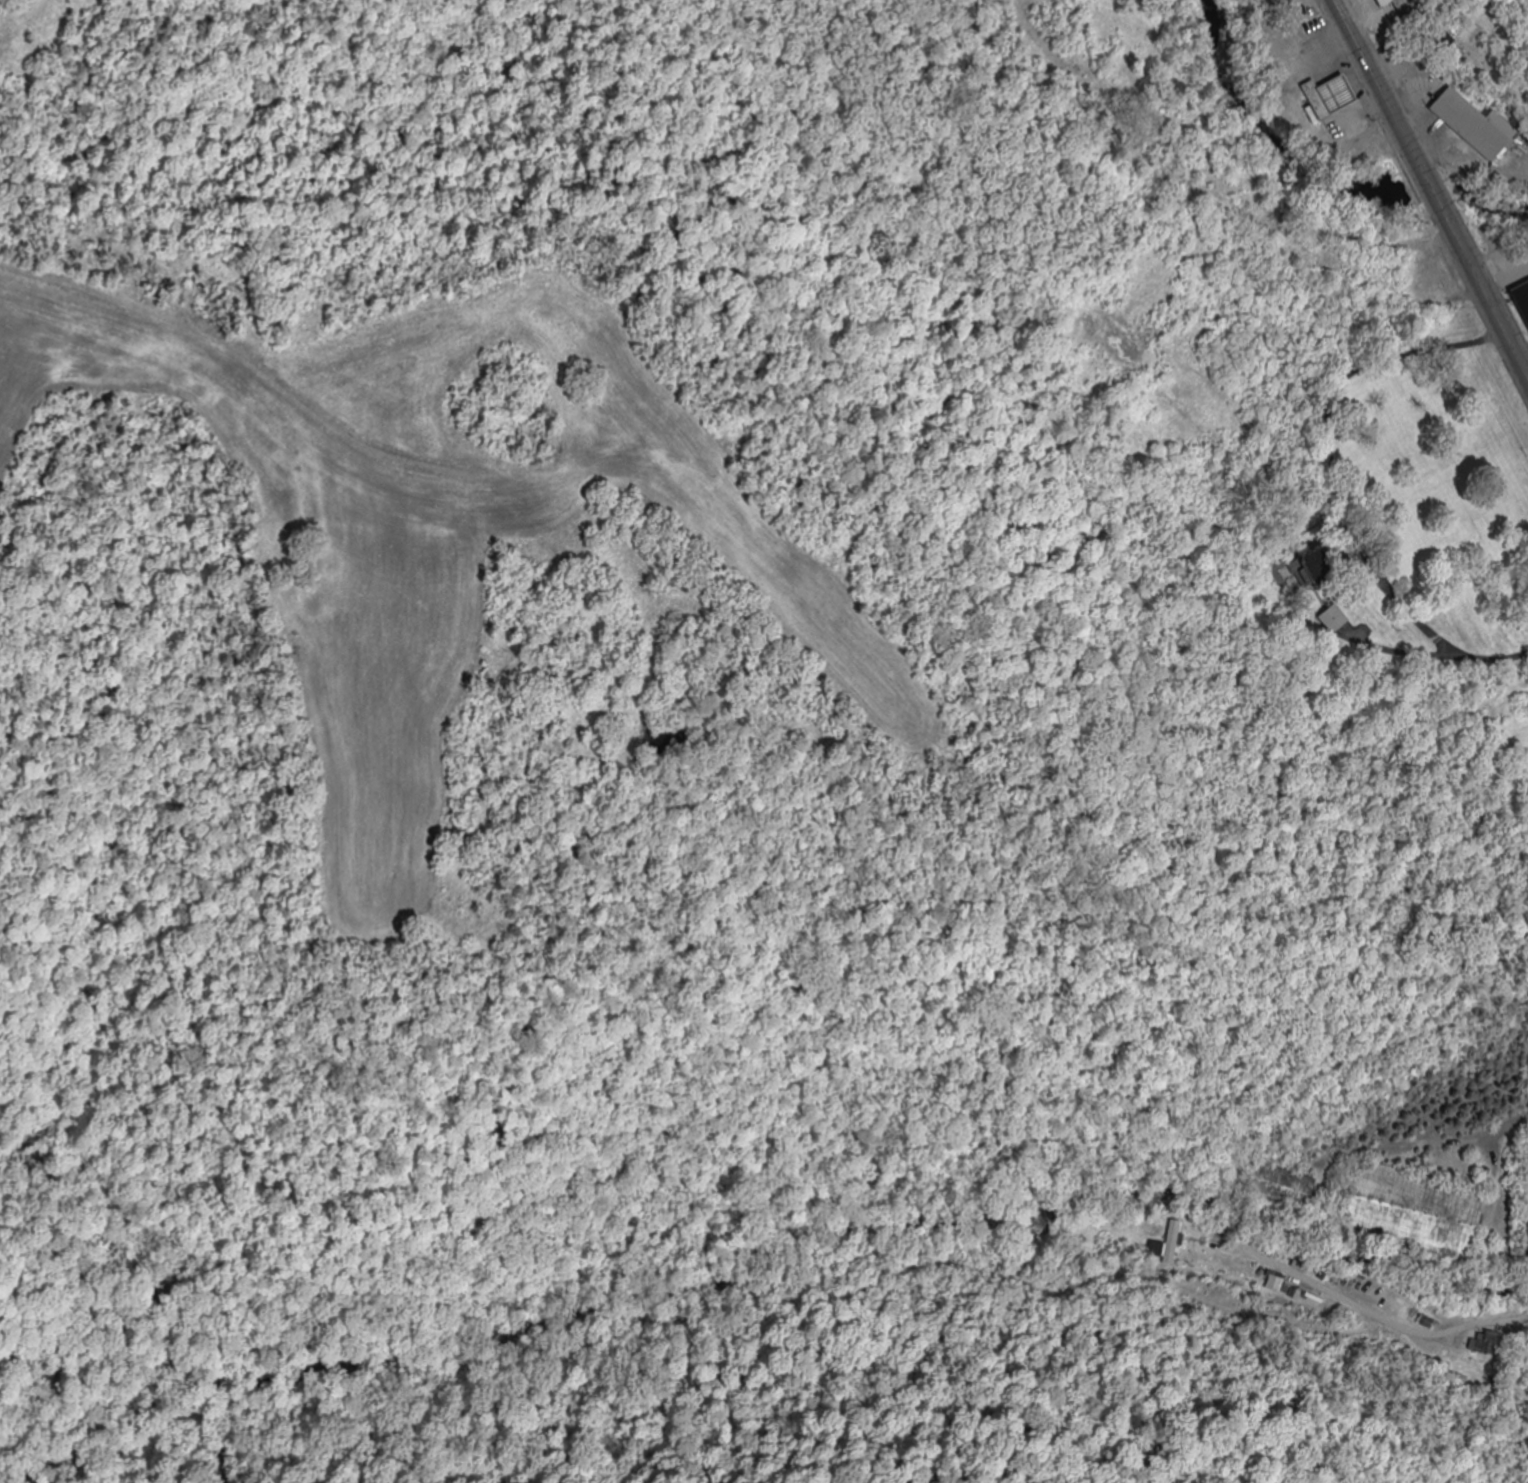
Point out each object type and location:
building: (1341, 93)
building: (1319, 100)
building: (1477, 125)
road: (1219, 155)
road: (1431, 188)
building: (1523, 299)

